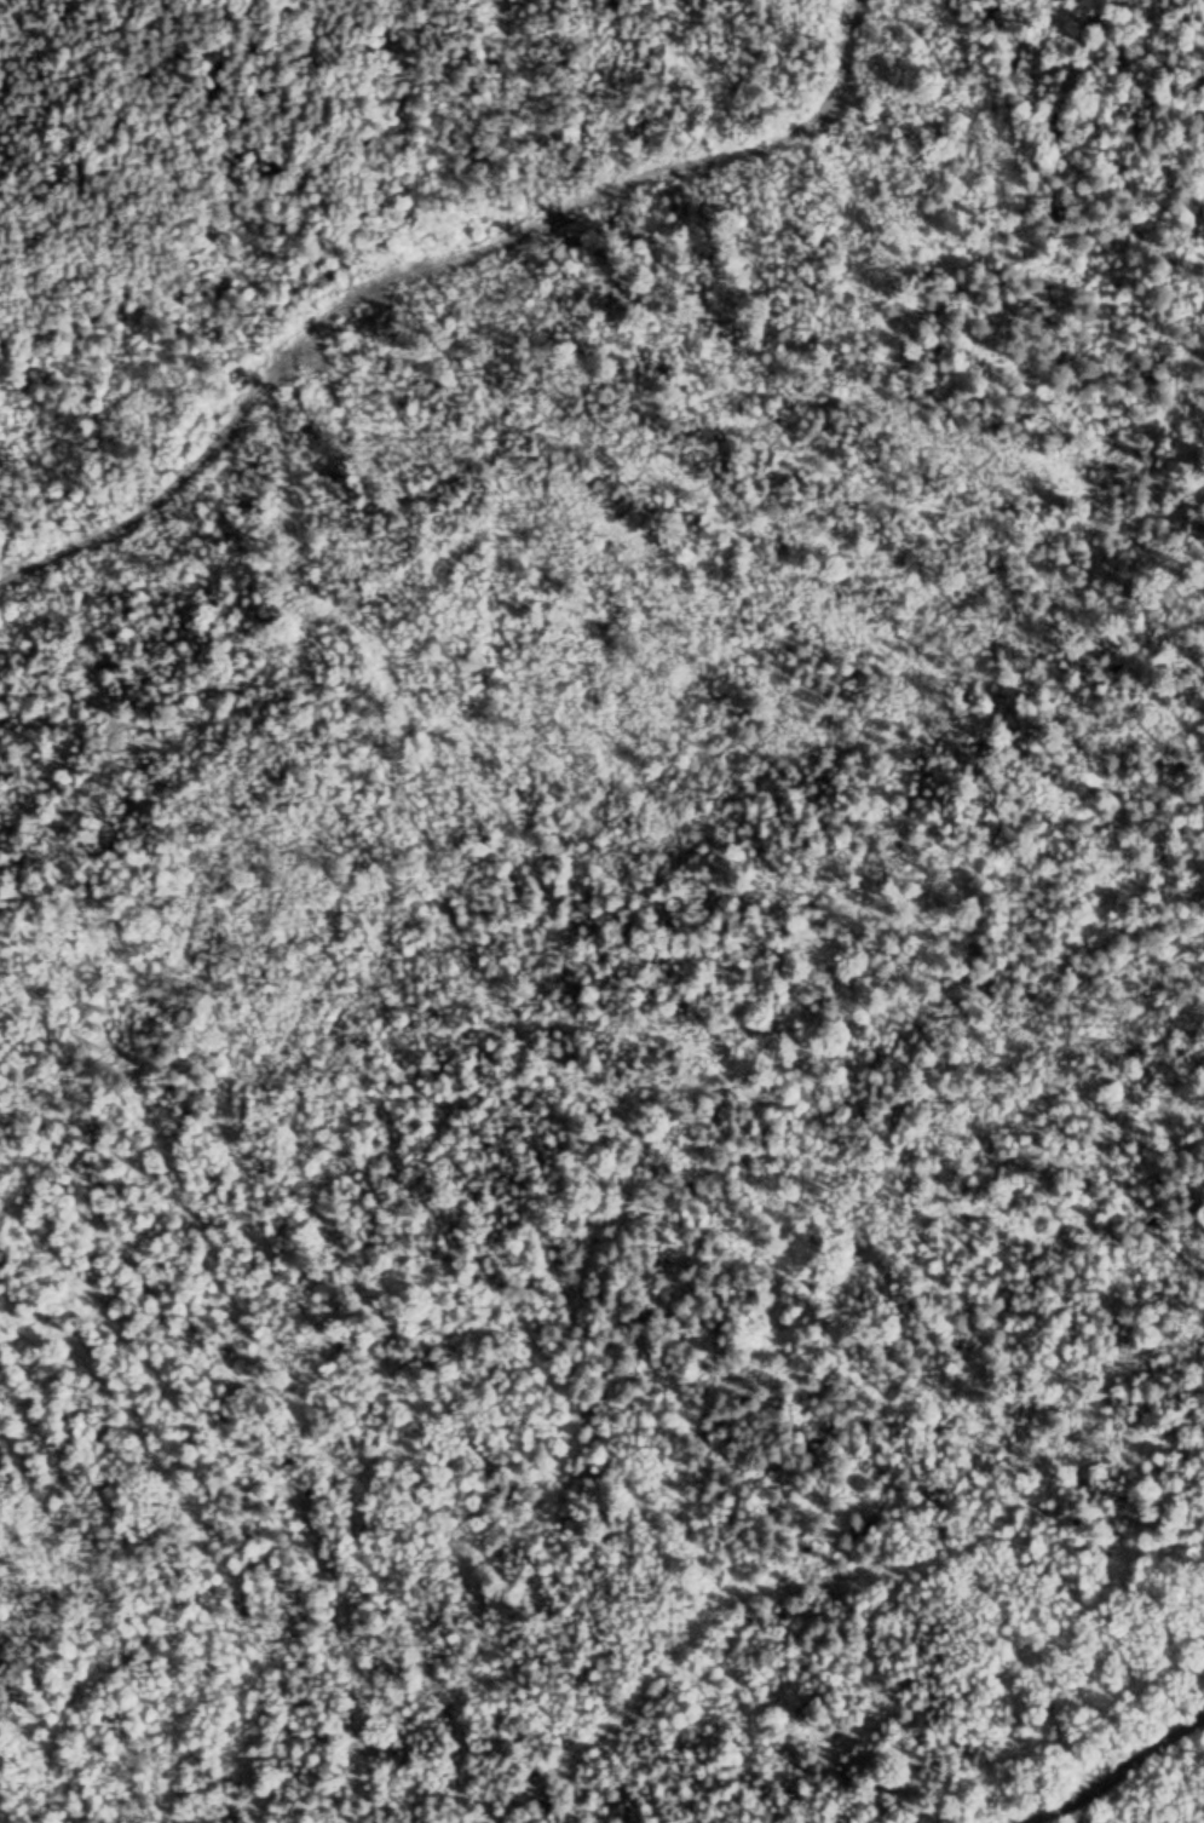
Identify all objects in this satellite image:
road: (1128, 1784)

